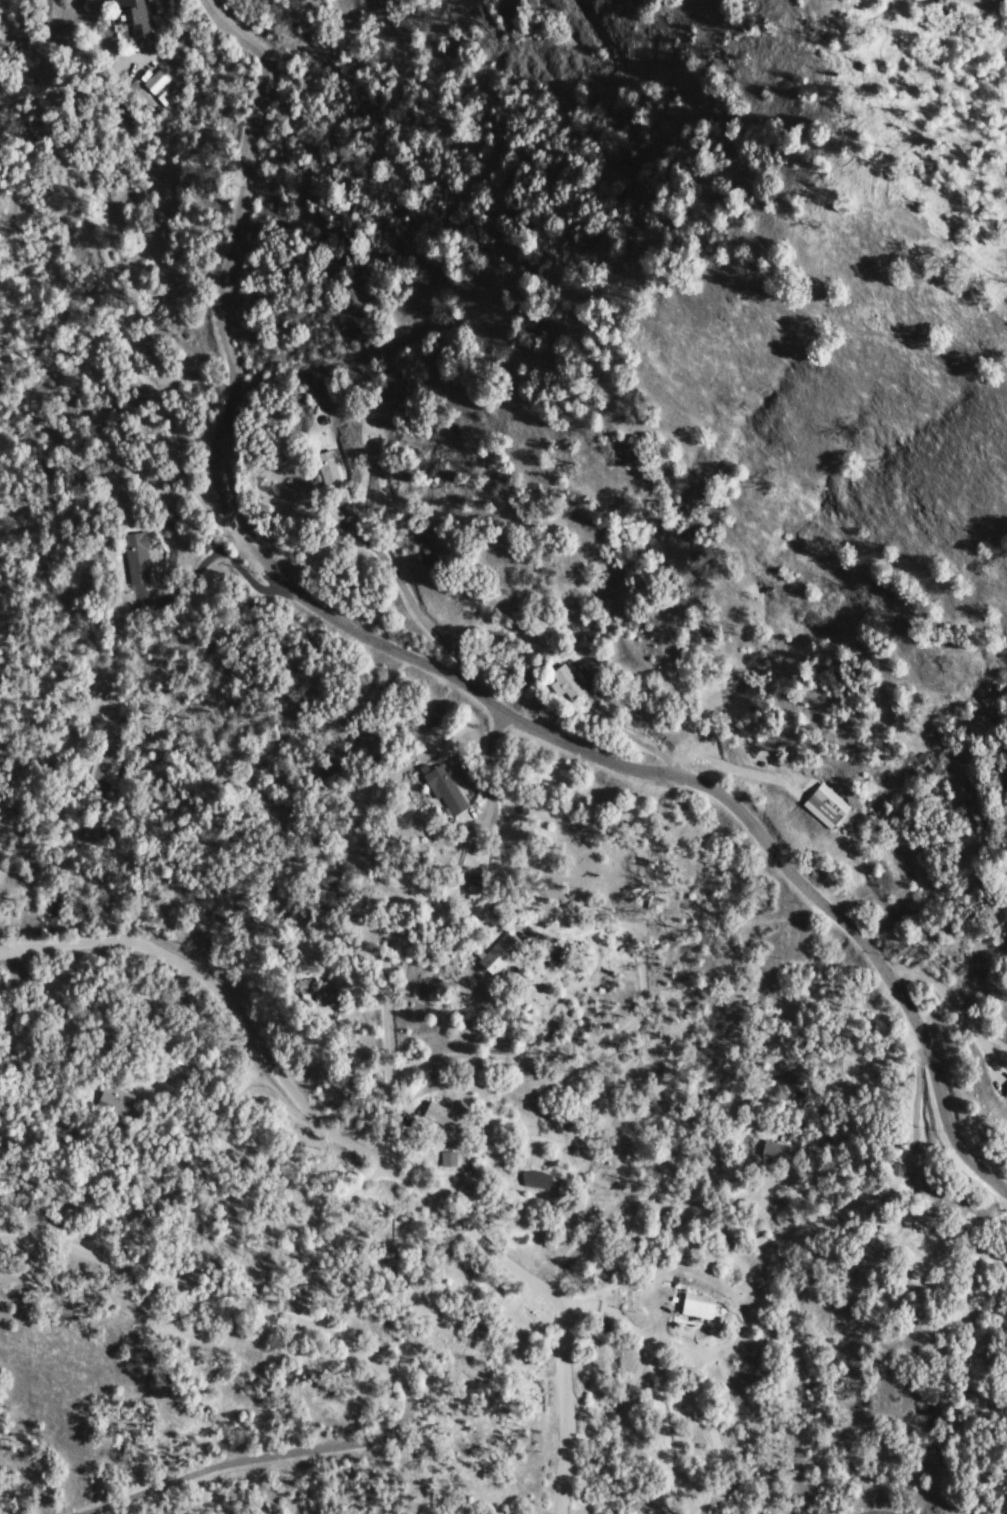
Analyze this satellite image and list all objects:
building: (140, 18)
building: (159, 81)
building: (167, 97)
building: (332, 469)
building: (141, 559)
road: (481, 657)
road: (440, 671)
building: (571, 682)
road: (485, 760)
building: (108, 769)
building: (449, 790)
building: (829, 807)
building: (477, 884)
building: (503, 954)
road: (192, 975)
building: (119, 1098)
building: (442, 1115)
building: (784, 1152)
building: (451, 1160)
building: (539, 1179)
building: (937, 1196)
road: (522, 1276)
building: (702, 1306)
road: (382, 1363)

